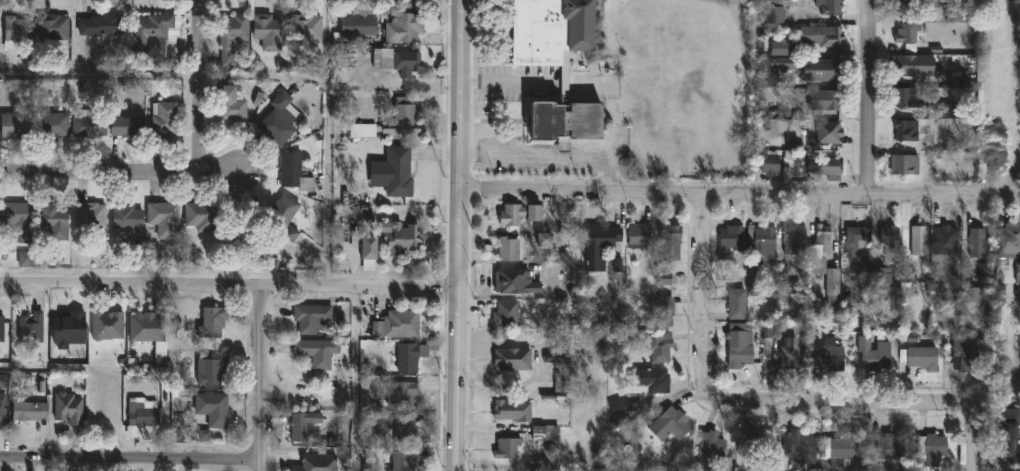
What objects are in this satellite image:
building: (903, 5)
building: (828, 6)
building: (775, 9)
building: (951, 13)
building: (100, 25)
building: (402, 27)
building: (353, 28)
building: (50, 29)
building: (303, 29)
building: (14, 31)
building: (147, 32)
building: (265, 32)
building: (906, 32)
building: (820, 35)
building: (229, 38)
road: (329, 44)
building: (783, 47)
building: (401, 63)
building: (778, 64)
building: (904, 64)
building: (343, 69)
building: (820, 69)
road: (264, 78)
road: (505, 82)
building: (563, 83)
road: (200, 85)
road: (871, 96)
building: (904, 96)
building: (829, 99)
building: (230, 104)
building: (943, 111)
building: (400, 117)
building: (161, 118)
building: (275, 120)
building: (51, 125)
building: (14, 126)
building: (125, 126)
building: (86, 127)
building: (361, 130)
building: (909, 130)
building: (827, 131)
road: (547, 158)
building: (768, 164)
building: (903, 164)
building: (825, 167)
road: (119, 170)
building: (293, 172)
building: (396, 172)
road: (739, 194)
building: (13, 214)
building: (199, 215)
building: (281, 215)
building: (509, 215)
building: (88, 216)
building: (161, 217)
building: (125, 218)
building: (52, 221)
building: (364, 222)
building: (242, 233)
building: (918, 234)
road: (459, 235)
building: (889, 236)
building: (637, 237)
building: (857, 237)
building: (976, 239)
building: (793, 240)
building: (944, 240)
building: (544, 241)
building: (729, 241)
building: (1008, 241)
building: (668, 242)
building: (820, 242)
building: (391, 243)
building: (598, 245)
building: (758, 247)
building: (507, 248)
building: (1017, 274)
building: (879, 278)
building: (513, 282)
building: (647, 286)
road: (230, 287)
building: (828, 297)
building: (971, 297)
building: (736, 304)
building: (663, 311)
building: (504, 314)
building: (312, 317)
building: (212, 321)
building: (397, 324)
building: (106, 325)
building: (31, 327)
building: (2, 328)
building: (656, 345)
building: (737, 347)
building: (317, 351)
building: (787, 352)
building: (410, 355)
building: (872, 355)
building: (829, 357)
building: (922, 358)
building: (510, 359)
building: (963, 360)
building: (210, 370)
road: (262, 379)
road: (355, 379)
building: (3, 380)
building: (647, 381)
building: (558, 389)
building: (335, 391)
building: (402, 393)
road: (772, 406)
building: (68, 407)
building: (2, 408)
building: (213, 408)
building: (28, 409)
building: (512, 409)
building: (618, 410)
building: (143, 411)
building: (300, 425)
building: (668, 425)
building: (405, 429)
building: (543, 433)
building: (1010, 437)
building: (751, 442)
building: (796, 447)
building: (505, 448)
building: (708, 448)
building: (887, 448)
building: (841, 449)
building: (931, 452)
road: (131, 460)
building: (402, 460)
building: (317, 461)

